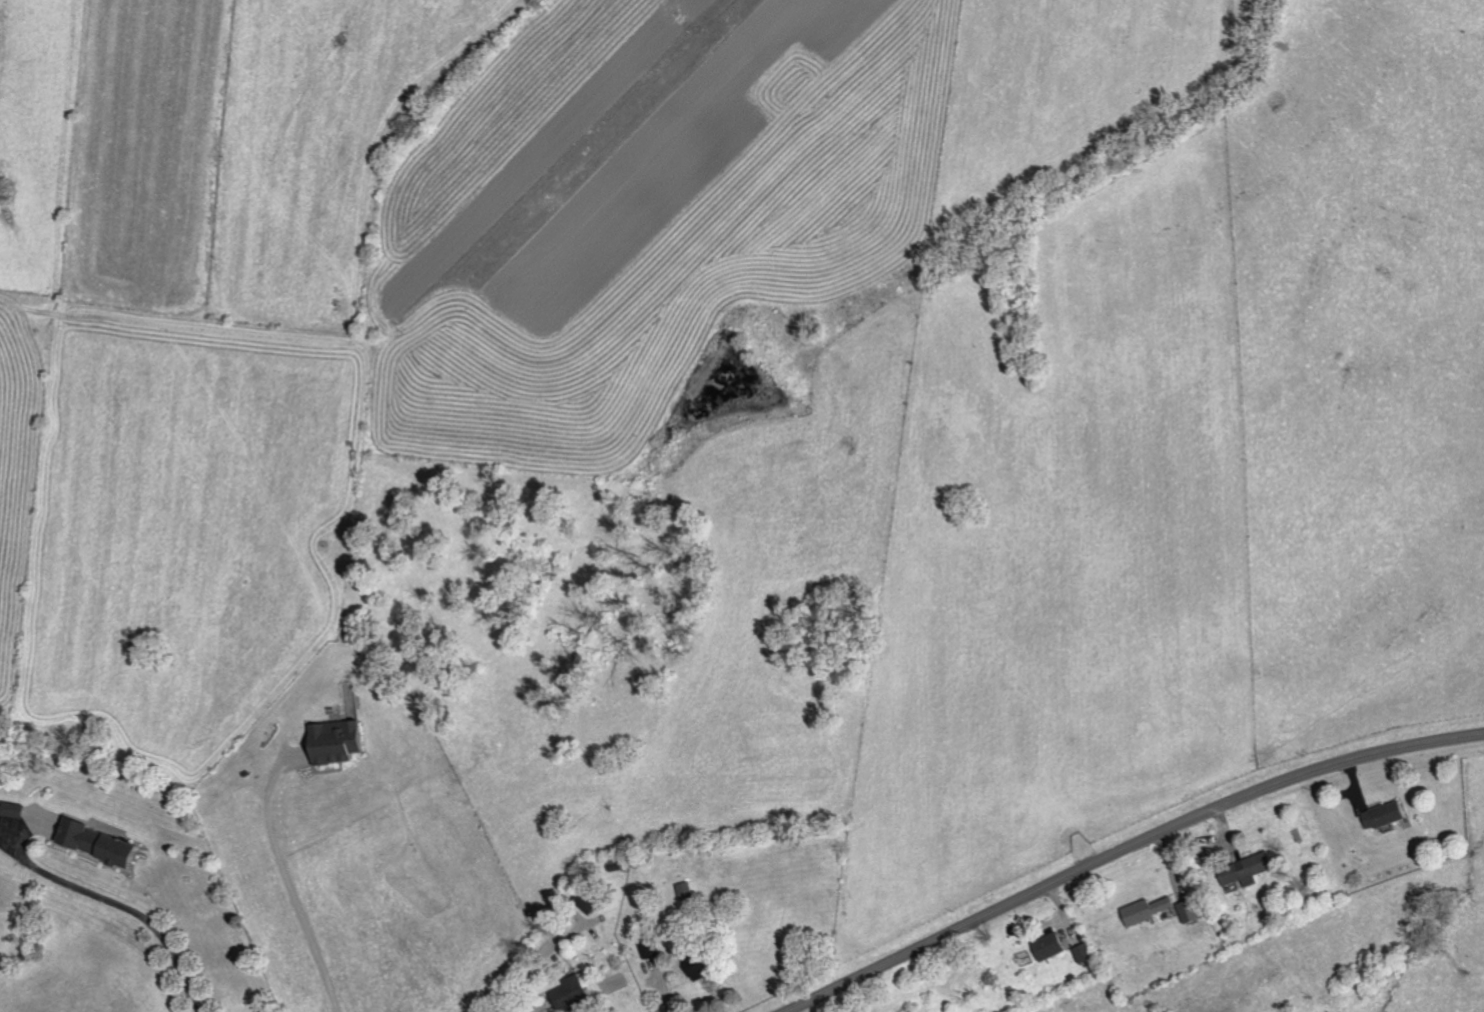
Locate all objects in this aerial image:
building: (337, 740)
building: (1385, 814)
building: (42, 820)
building: (97, 842)
road: (1125, 849)
building: (1246, 869)
road: (288, 883)
road: (124, 904)
building: (1148, 909)
building: (1190, 910)
building: (1084, 952)
building: (698, 967)
building: (570, 993)

